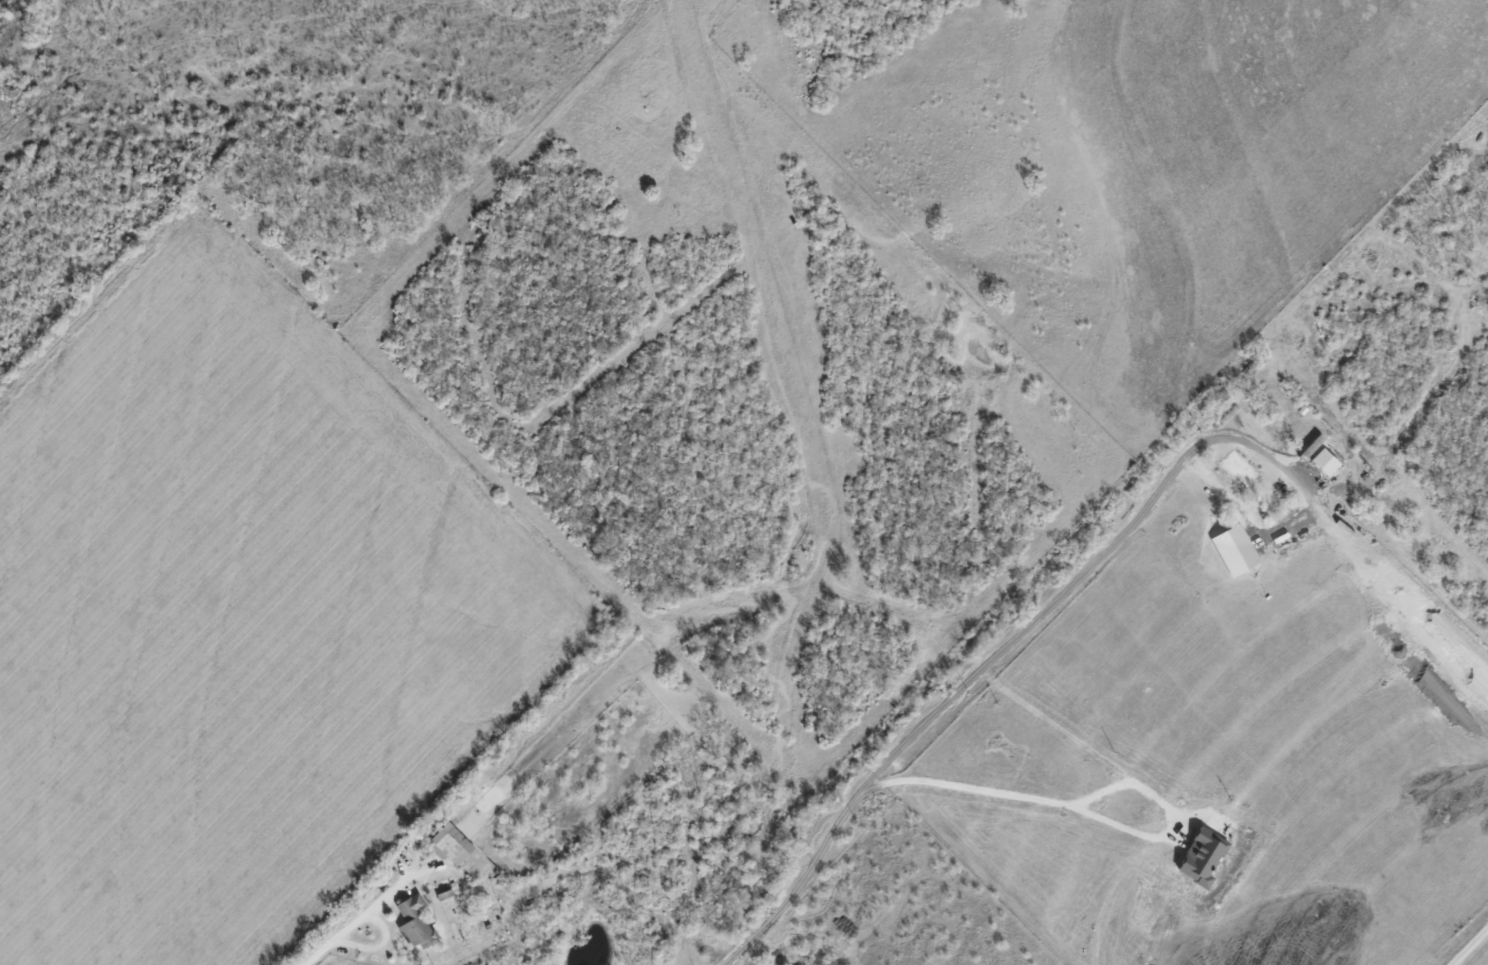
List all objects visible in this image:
road: (1261, 446)
building: (1323, 462)
building: (1233, 550)
road: (961, 686)
road: (1081, 812)
building: (449, 844)
building: (1201, 856)
building: (413, 921)
road: (339, 936)
road: (1470, 947)

